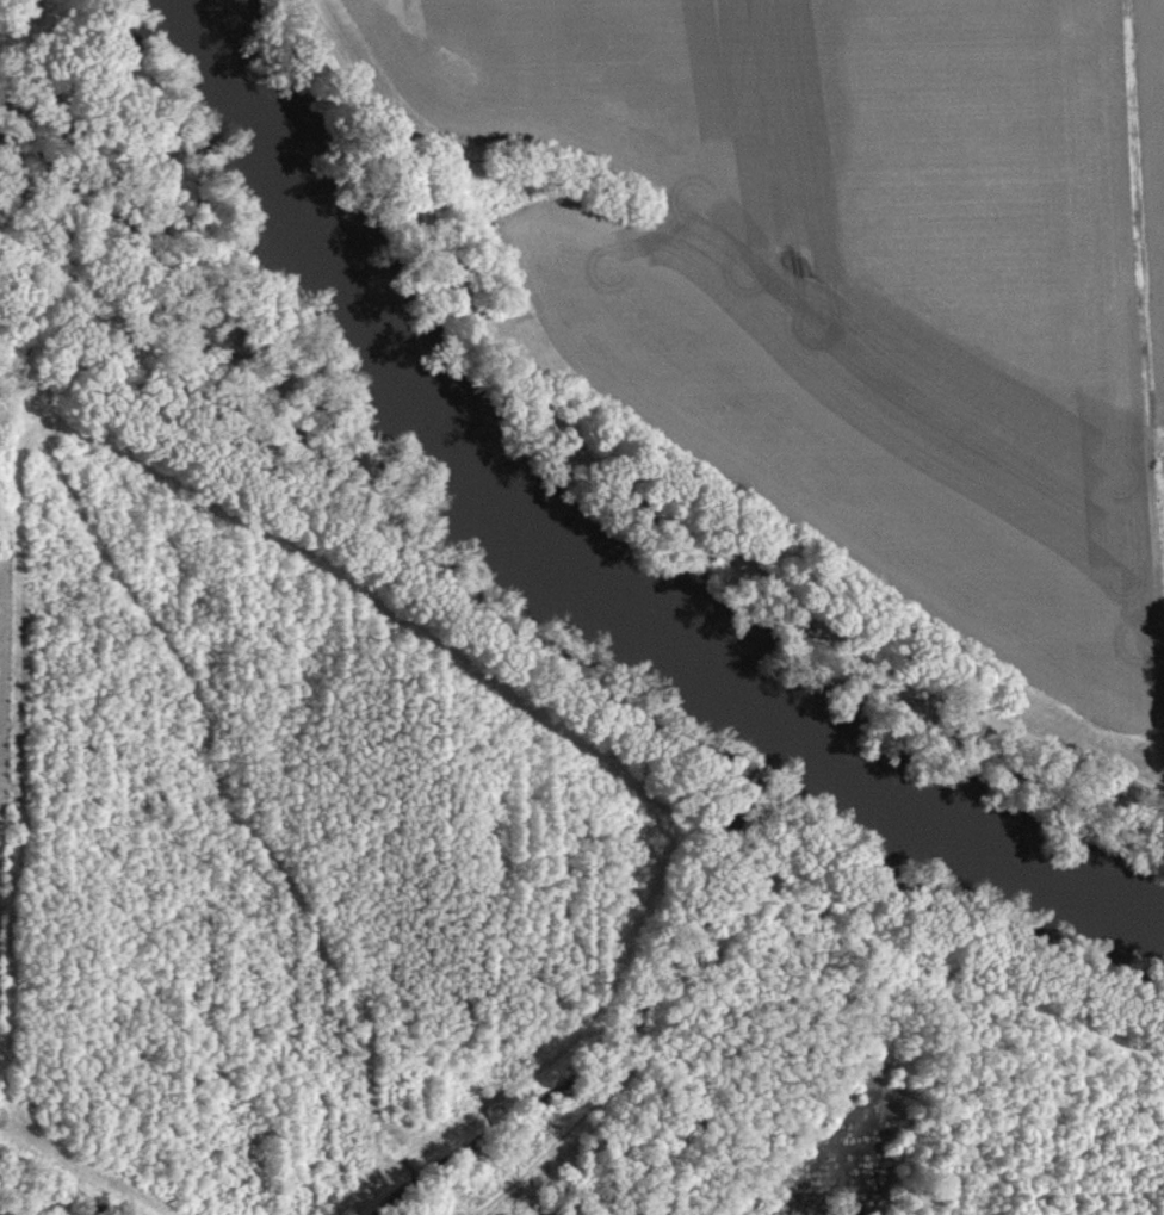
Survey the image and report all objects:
crop: (853, 280)
road: (636, 503)
river: (563, 579)

